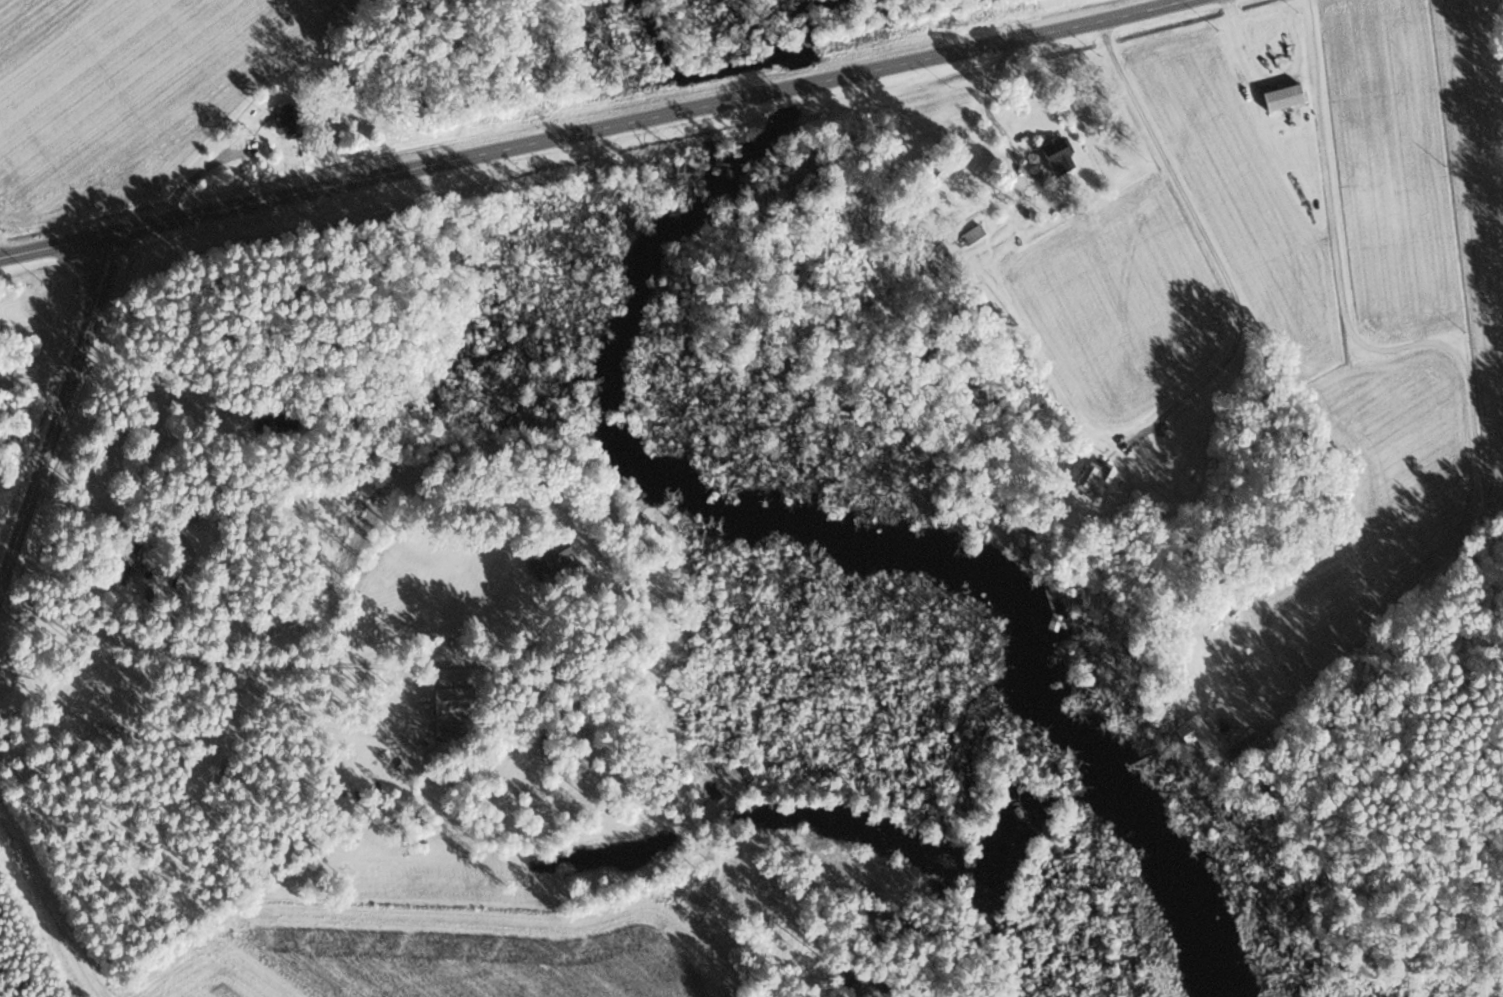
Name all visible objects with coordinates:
building: (1280, 97)
building: (286, 123)
road: (593, 129)
building: (1058, 161)
building: (939, 168)
building: (938, 252)
building: (974, 298)
road: (55, 410)
building: (1091, 479)
building: (548, 563)
road: (220, 661)
building: (1206, 700)
building: (448, 705)
road: (227, 712)
road: (358, 730)
building: (1191, 736)
road: (51, 907)

